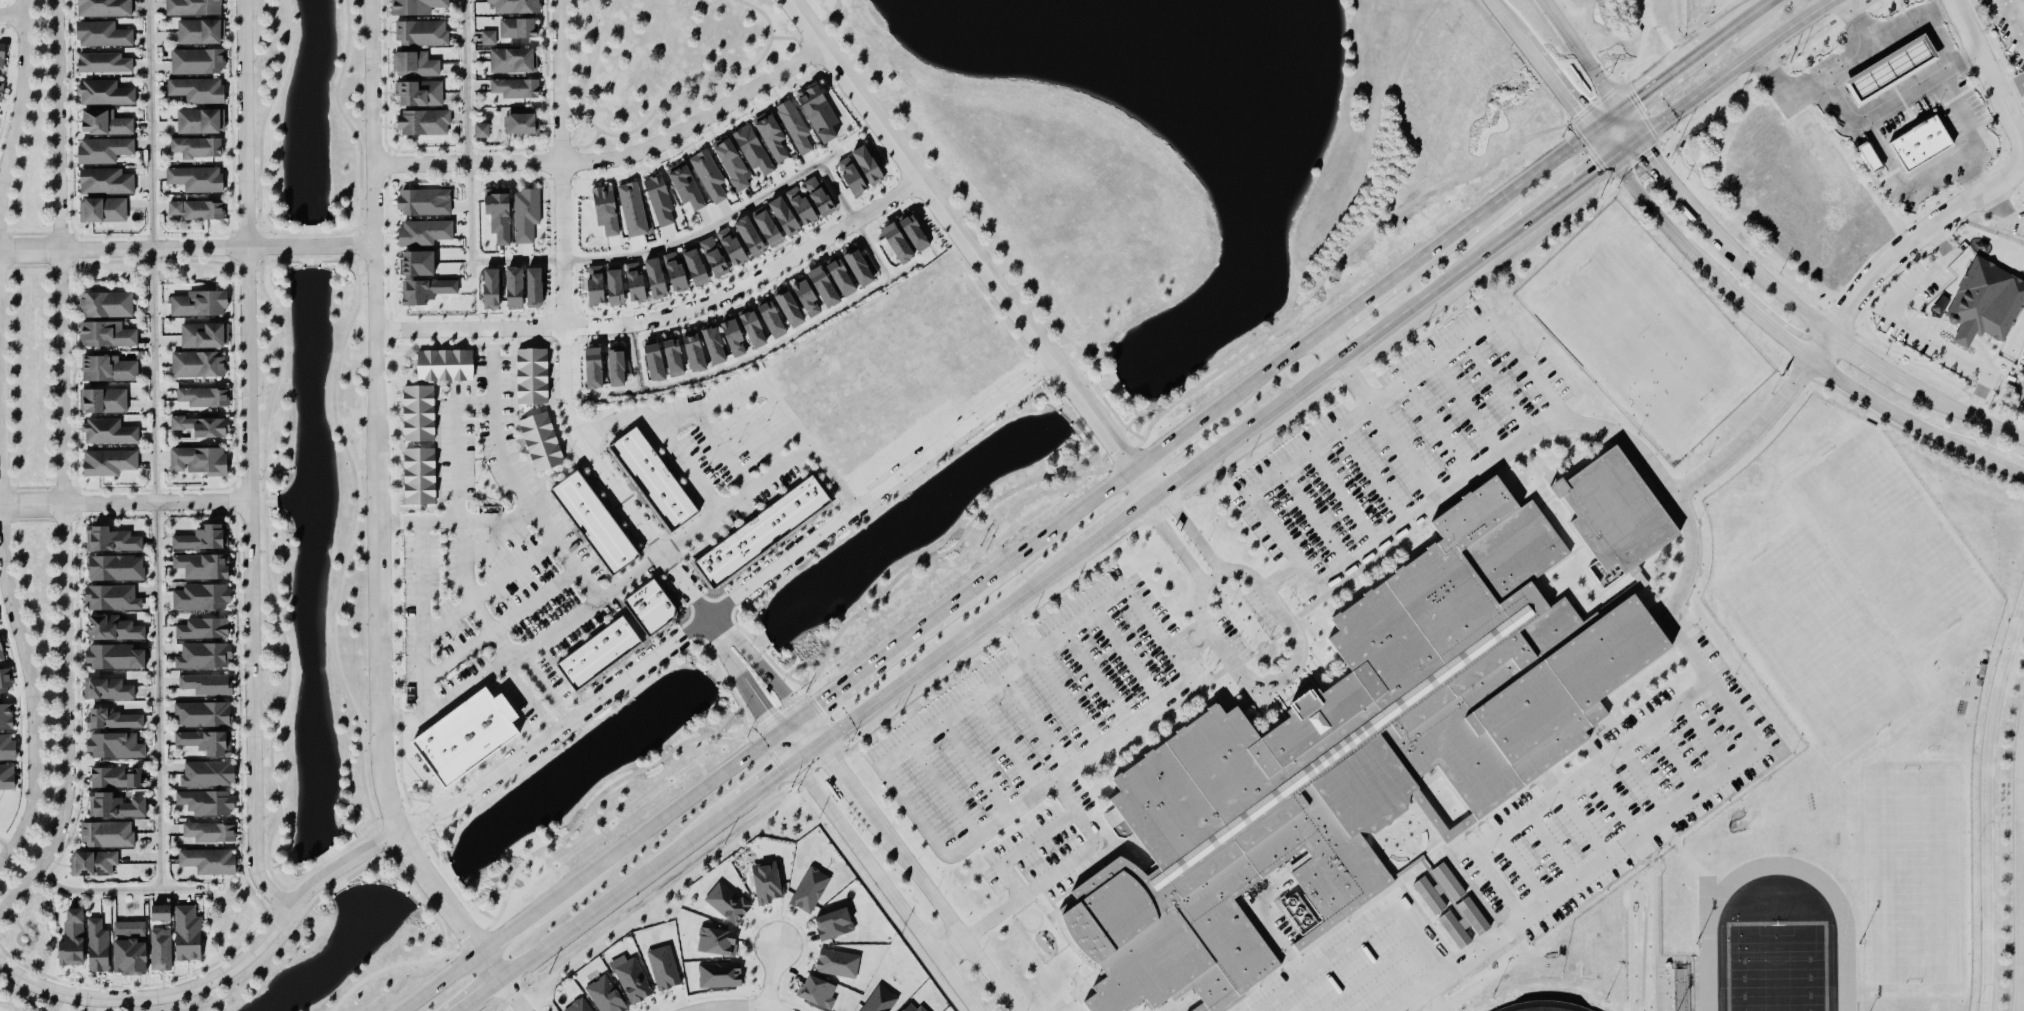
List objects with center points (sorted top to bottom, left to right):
park: (817, 4)
building: (418, 6)
building: (517, 6)
building: (194, 7)
building: (105, 8)
road: (1755, 15)
road: (13, 16)
road: (1864, 20)
road: (2013, 21)
building: (521, 27)
building: (201, 32)
building: (422, 33)
road: (1666, 34)
building: (103, 35)
road: (1519, 37)
building: (488, 38)
road: (794, 38)
road: (1718, 42)
building: (3, 55)
road: (1579, 55)
road: (1965, 59)
building: (513, 60)
road: (1847, 60)
building: (198, 62)
park: (663, 62)
building: (104, 63)
building: (415, 64)
road: (1740, 67)
building: (1895, 69)
road: (1660, 81)
building: (1, 87)
building: (516, 88)
building: (198, 90)
road: (2012, 90)
building: (420, 93)
building: (105, 94)
road: (1905, 94)
road: (21, 100)
road: (1569, 102)
road: (655, 111)
traffic signals: (1619, 111)
building: (820, 114)
building: (200, 121)
building: (522, 121)
road: (1605, 121)
road: (263, 122)
road: (350, 122)
building: (107, 123)
building: (425, 123)
road: (1629, 125)
building: (796, 126)
building: (482, 131)
traffic signals: (1591, 131)
building: (773, 135)
road: (469, 138)
traffic signals: (1640, 139)
road: (584, 145)
road: (1601, 145)
building: (1923, 145)
building: (198, 148)
building: (754, 149)
road: (1626, 149)
building: (104, 150)
traffic signals: (1612, 159)
road: (614, 161)
building: (734, 165)
road: (1660, 166)
road: (1948, 169)
building: (862, 170)
building: (710, 176)
road: (1532, 176)
building: (197, 179)
building: (106, 181)
building: (687, 185)
road: (1990, 190)
road: (1567, 191)
building: (660, 200)
building: (814, 201)
building: (426, 202)
road: (2003, 208)
building: (633, 209)
building: (103, 210)
building: (198, 210)
building: (606, 210)
building: (500, 213)
building: (527, 215)
building: (788, 215)
road: (2019, 218)
road: (854, 222)
building: (770, 225)
building: (426, 233)
building: (909, 237)
building: (745, 241)
road: (668, 245)
road: (971, 248)
road: (188, 249)
building: (717, 256)
building: (422, 263)
building: (697, 265)
road: (1754, 267)
building: (844, 276)
road: (1396, 278)
building: (638, 281)
building: (518, 288)
building: (538, 288)
building: (494, 289)
building: (428, 291)
building: (809, 296)
building: (1988, 303)
building: (201, 304)
building: (107, 305)
road: (666, 317)
building: (765, 322)
road: (1912, 327)
road: (562, 330)
park: (1643, 331)
building: (107, 335)
building: (204, 336)
road: (1795, 346)
road: (770, 348)
road: (1329, 348)
road: (1824, 348)
building: (696, 352)
road: (636, 358)
road: (1868, 358)
road: (1338, 360)
building: (659, 362)
building: (199, 365)
building: (447, 366)
building: (607, 367)
building: (109, 369)
building: (533, 376)
road: (1262, 376)
road: (1354, 381)
road: (2004, 381)
road: (744, 395)
building: (204, 397)
building: (104, 401)
road: (1962, 411)
building: (420, 413)
building: (203, 426)
building: (109, 433)
road: (495, 433)
road: (755, 433)
road: (661, 434)
road: (1752, 435)
building: (543, 442)
road: (1169, 443)
road: (457, 444)
road: (158, 445)
road: (722, 450)
road: (250, 459)
building: (201, 461)
building: (110, 463)
road: (62, 470)
road: (767, 475)
building: (421, 476)
building: (653, 480)
road: (1252, 490)
road: (125, 504)
road: (377, 508)
road: (1071, 516)
road: (1126, 517)
road: (497, 519)
road: (419, 522)
building: (595, 525)
building: (761, 534)
road: (493, 538)
building: (203, 539)
building: (112, 540)
park: (1889, 541)
road: (348, 544)
road: (1171, 544)
road: (1084, 548)
road: (1203, 549)
building: (205, 566)
building: (117, 568)
road: (267, 572)
road: (1280, 575)
road: (631, 576)
road: (490, 587)
road: (471, 594)
road: (597, 596)
building: (202, 597)
building: (113, 598)
road: (729, 600)
building: (651, 609)
road: (422, 618)
road: (502, 625)
building: (114, 629)
building: (204, 629)
road: (1016, 633)
road: (20, 640)
park: (1818, 646)
road: (893, 647)
road: (947, 651)
building: (2, 652)
building: (205, 656)
building: (599, 656)
building: (117, 658)
road: (1128, 660)
road: (758, 662)
road: (740, 675)
road: (1250, 679)
road: (1097, 682)
building: (5, 683)
road: (543, 684)
building: (208, 685)
road: (461, 689)
building: (108, 690)
road: (528, 696)
traffic signals: (818, 703)
road: (1066, 704)
traffic signals: (766, 713)
building: (204, 715)
building: (6, 717)
building: (114, 720)
road: (398, 720)
road: (1036, 725)
building: (466, 740)
building: (207, 742)
building: (116, 746)
building: (7, 747)
road: (1004, 747)
road: (1752, 753)
building: (1359, 754)
traffic signals: (834, 757)
road: (840, 765)
road: (420, 766)
road: (974, 770)
building: (210, 775)
traffic signals: (781, 775)
building: (8, 777)
building: (113, 779)
road: (766, 785)
road: (944, 791)
building: (1417, 796)
building: (207, 803)
road: (1987, 803)
building: (116, 807)
road: (912, 811)
building: (211, 833)
building: (108, 835)
road: (5, 851)
building: (210, 862)
building: (94, 864)
road: (878, 871)
road: (596, 873)
park: (1912, 878)
road: (2022, 879)
building: (769, 883)
road: (116, 890)
building: (808, 890)
building: (1441, 890)
road: (419, 895)
road: (1026, 896)
road: (285, 898)
building: (727, 903)
road: (21, 905)
road: (605, 905)
road: (947, 913)
building: (162, 914)
road: (18, 923)
building: (836, 925)
building: (1466, 925)
track: (1707, 933)
building: (188, 935)
building: (73, 941)
road: (27, 942)
road: (282, 942)
road: (428, 942)
building: (718, 942)
building: (142, 950)
road: (395, 964)
building: (839, 964)
park: (1778, 968)
building: (664, 969)
road: (220, 975)
building: (719, 975)
road: (771, 978)
building: (633, 982)
building: (821, 993)
road: (21, 995)
building: (605, 995)
road: (482, 997)
road: (512, 997)
building: (881, 1000)
park: (1543, 1000)
building: (578, 1006)
road: (737, 1008)
building: (912, 1008)

